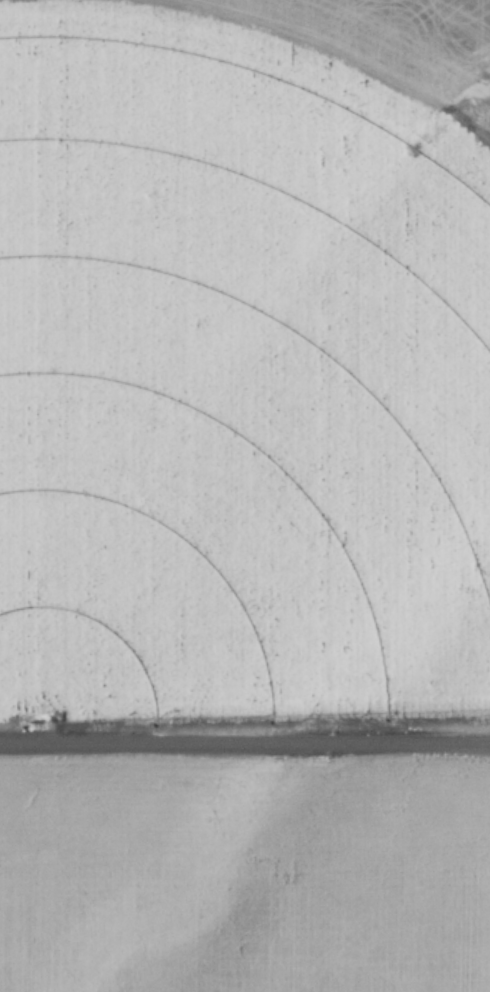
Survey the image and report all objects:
road: (245, 746)

